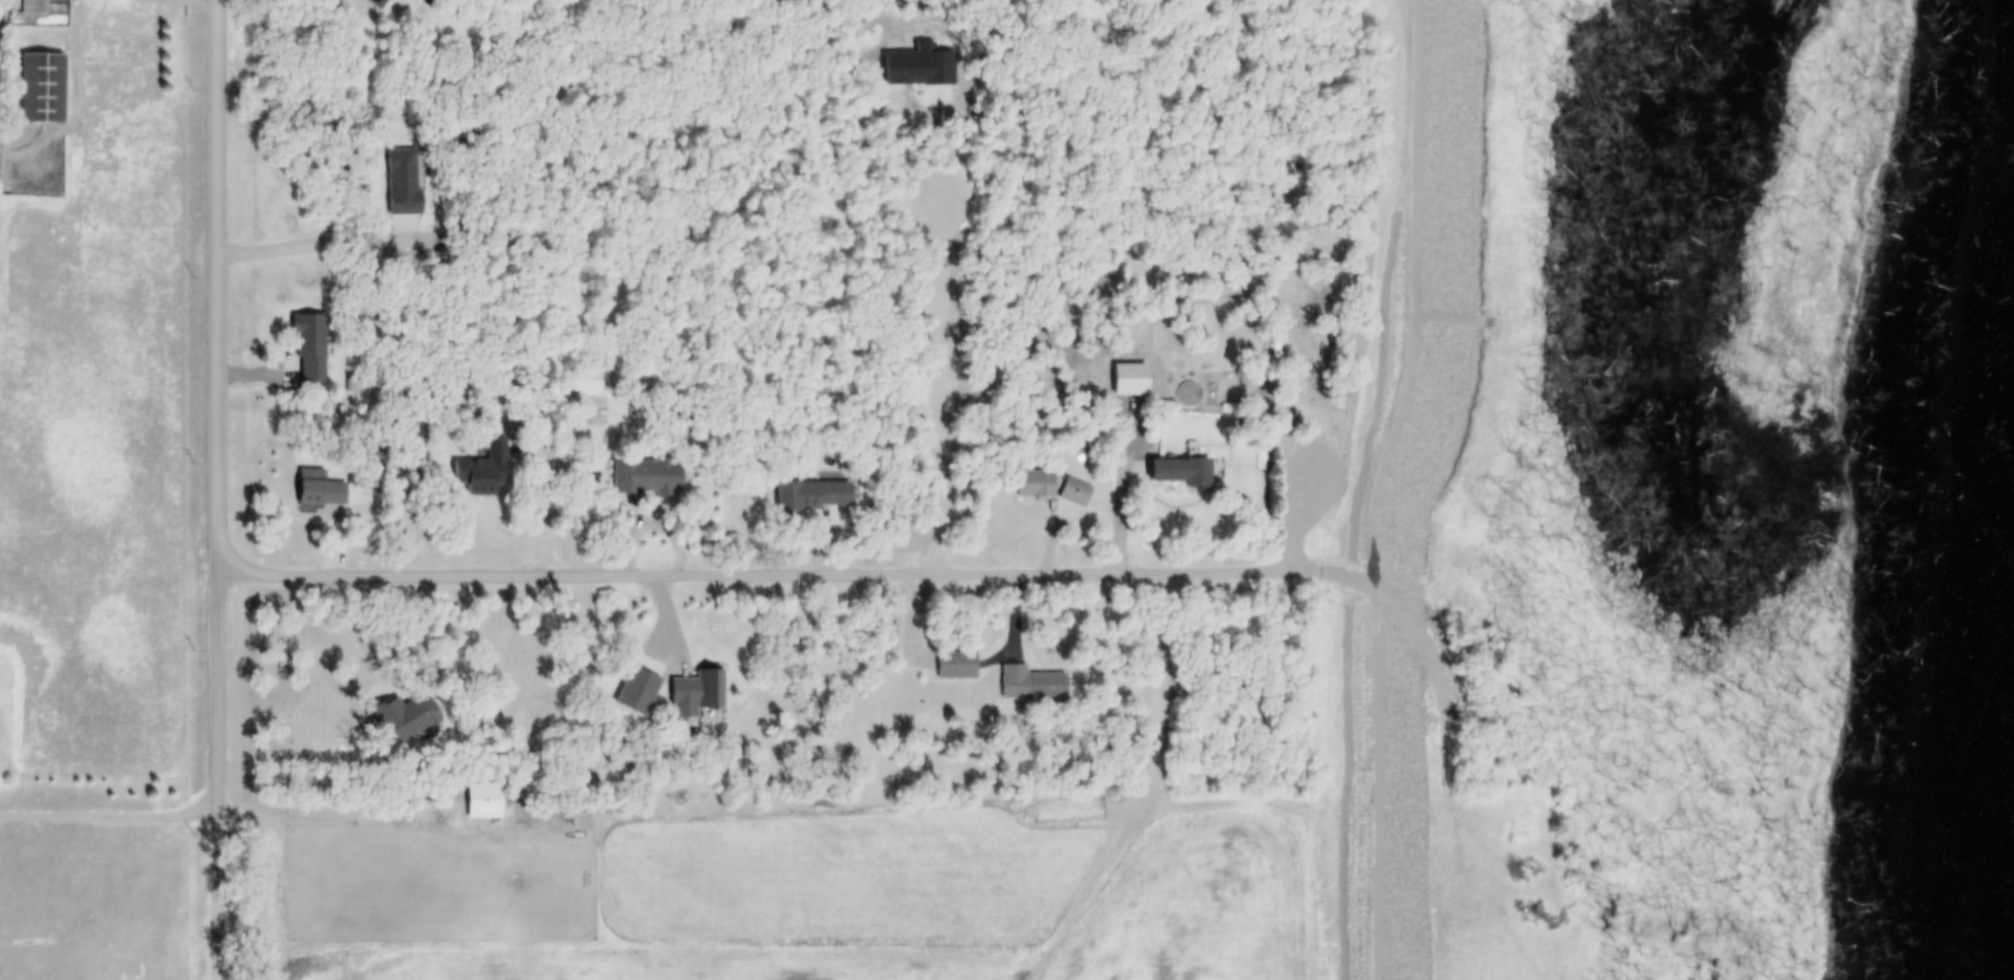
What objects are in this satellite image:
building: (42, 12)
road: (79, 66)
building: (43, 88)
road: (222, 401)
building: (486, 470)
building: (1183, 471)
building: (646, 481)
building: (1053, 488)
building: (321, 490)
building: (1381, 490)
road: (725, 571)
building: (958, 666)
building: (1033, 685)
building: (698, 693)
building: (486, 801)
road: (111, 816)
road: (222, 891)

